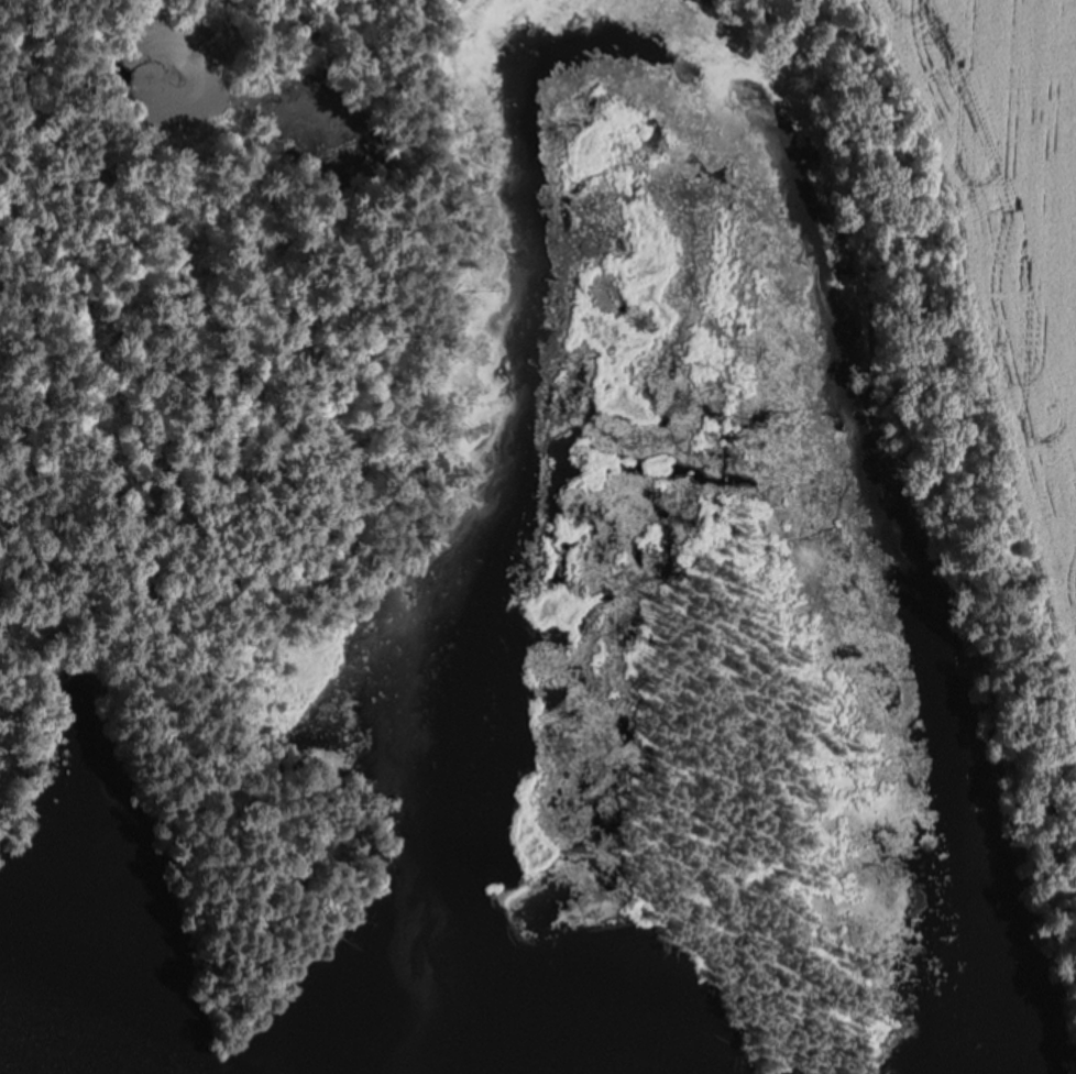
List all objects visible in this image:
road: (100, 325)

